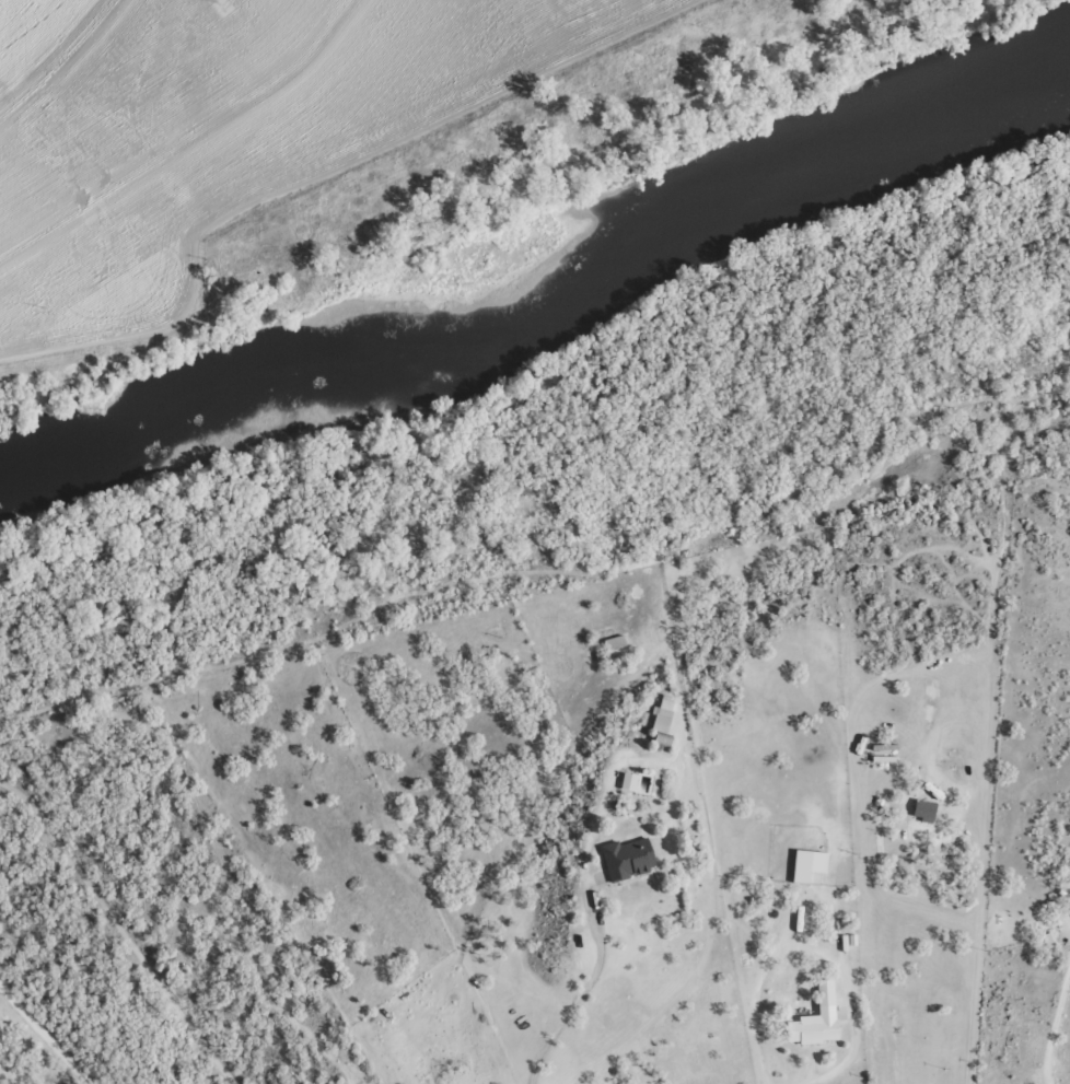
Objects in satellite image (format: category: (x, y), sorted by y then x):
road: (407, 207)
river: (558, 316)
building: (615, 642)
building: (663, 714)
building: (629, 781)
building: (924, 811)
building: (629, 859)
building: (809, 864)
building: (817, 1018)

